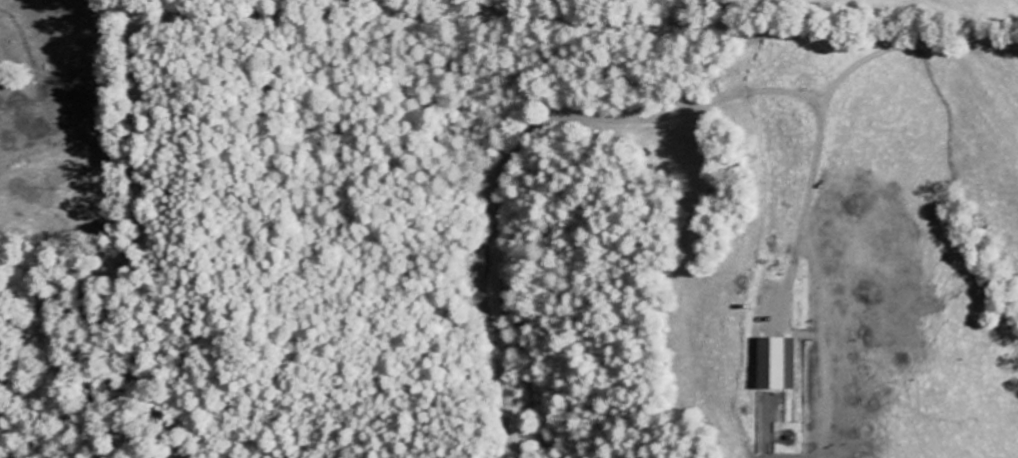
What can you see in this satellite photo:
building: (775, 365)

